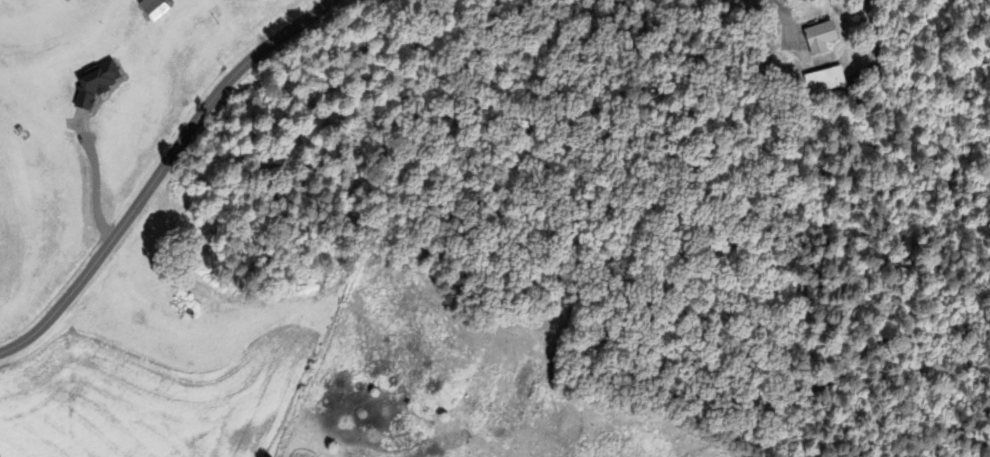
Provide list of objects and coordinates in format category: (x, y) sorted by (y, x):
road: (781, 7)
building: (817, 35)
building: (824, 79)
road: (159, 171)
road: (96, 181)

